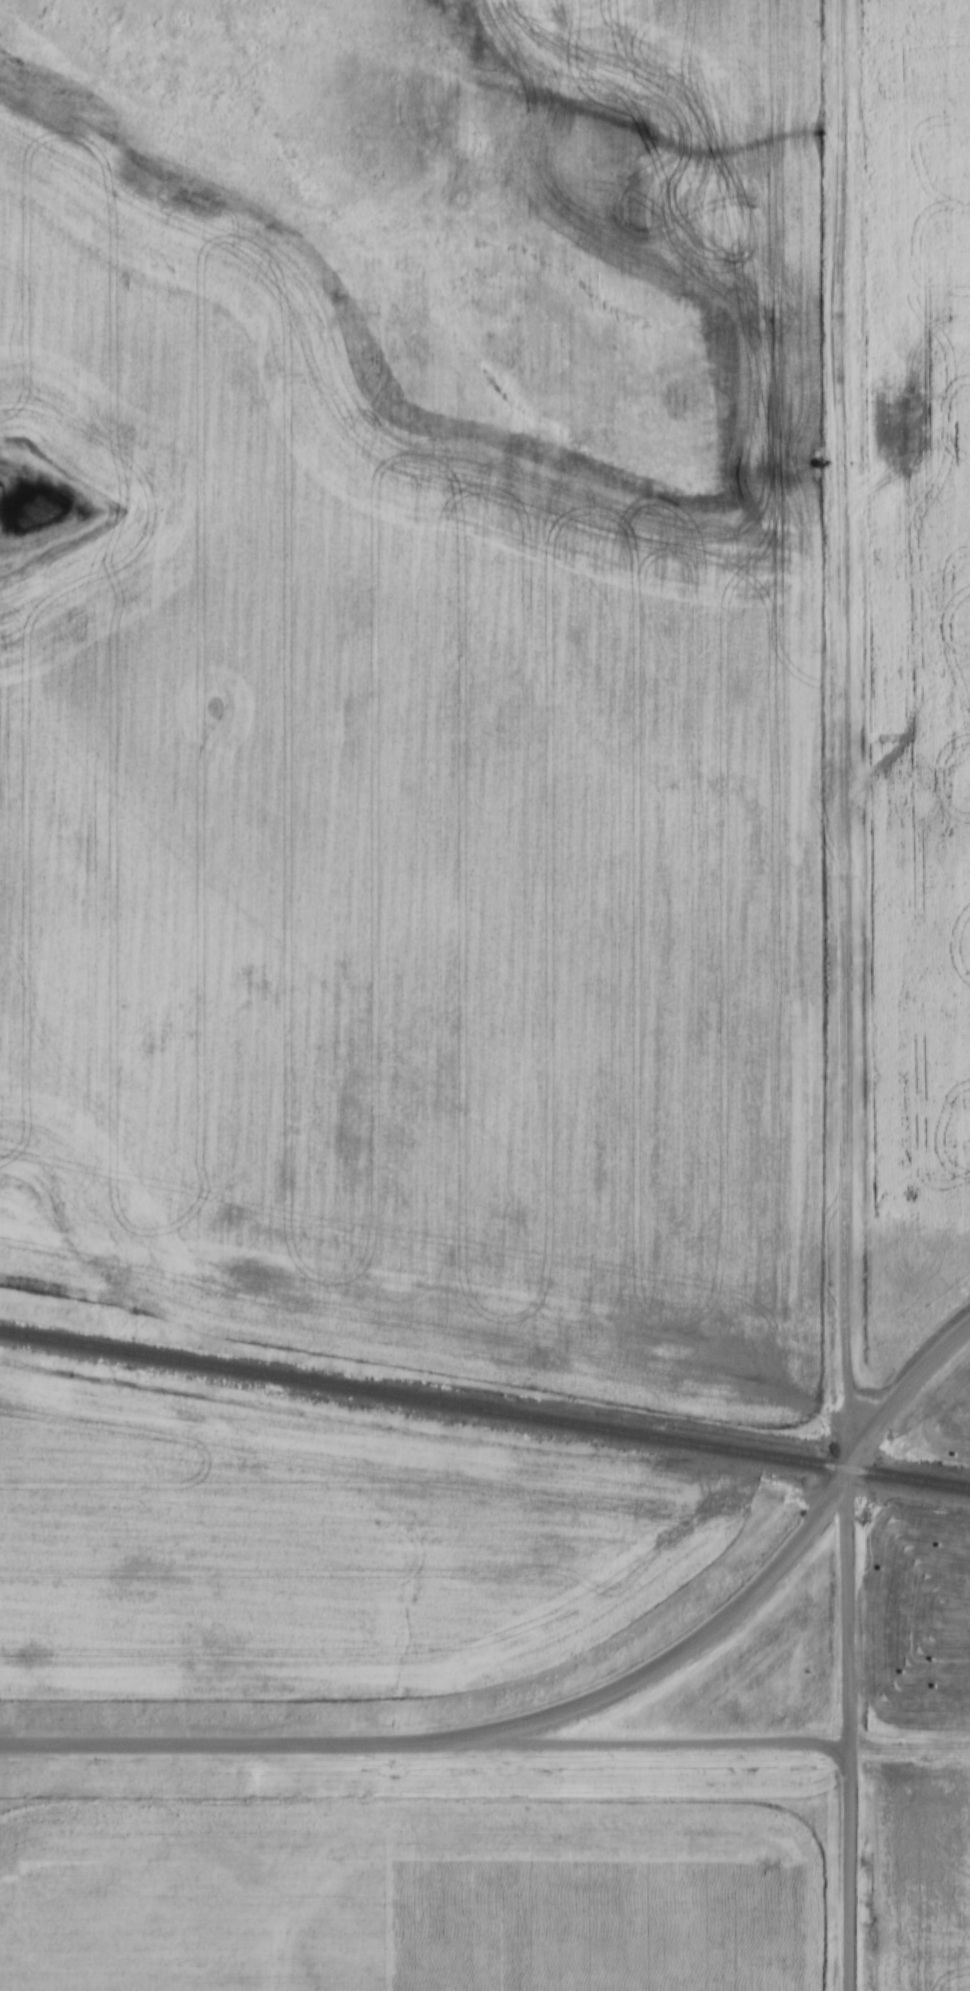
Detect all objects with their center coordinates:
road: (844, 734)
road: (902, 1393)
railway: (423, 1400)
railway: (908, 1478)
road: (846, 1729)
road: (473, 1733)
road: (702, 1742)

